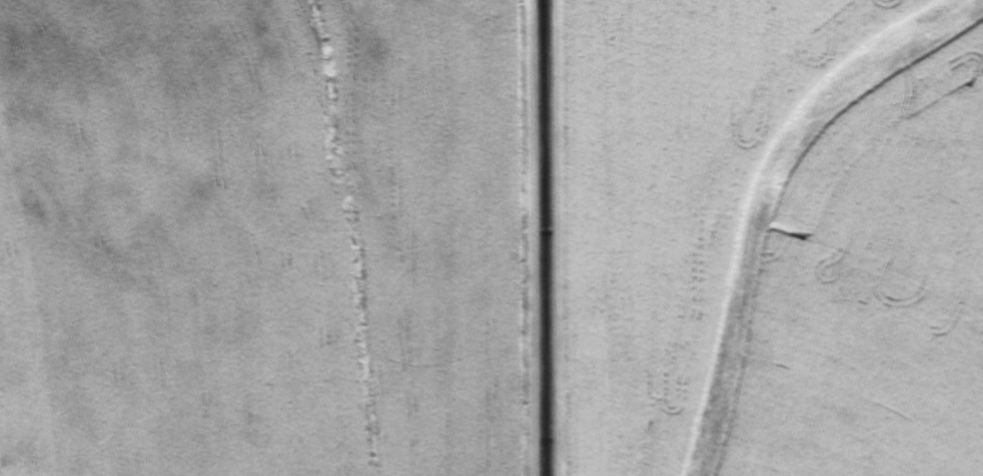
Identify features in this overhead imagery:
road: (550, 238)

